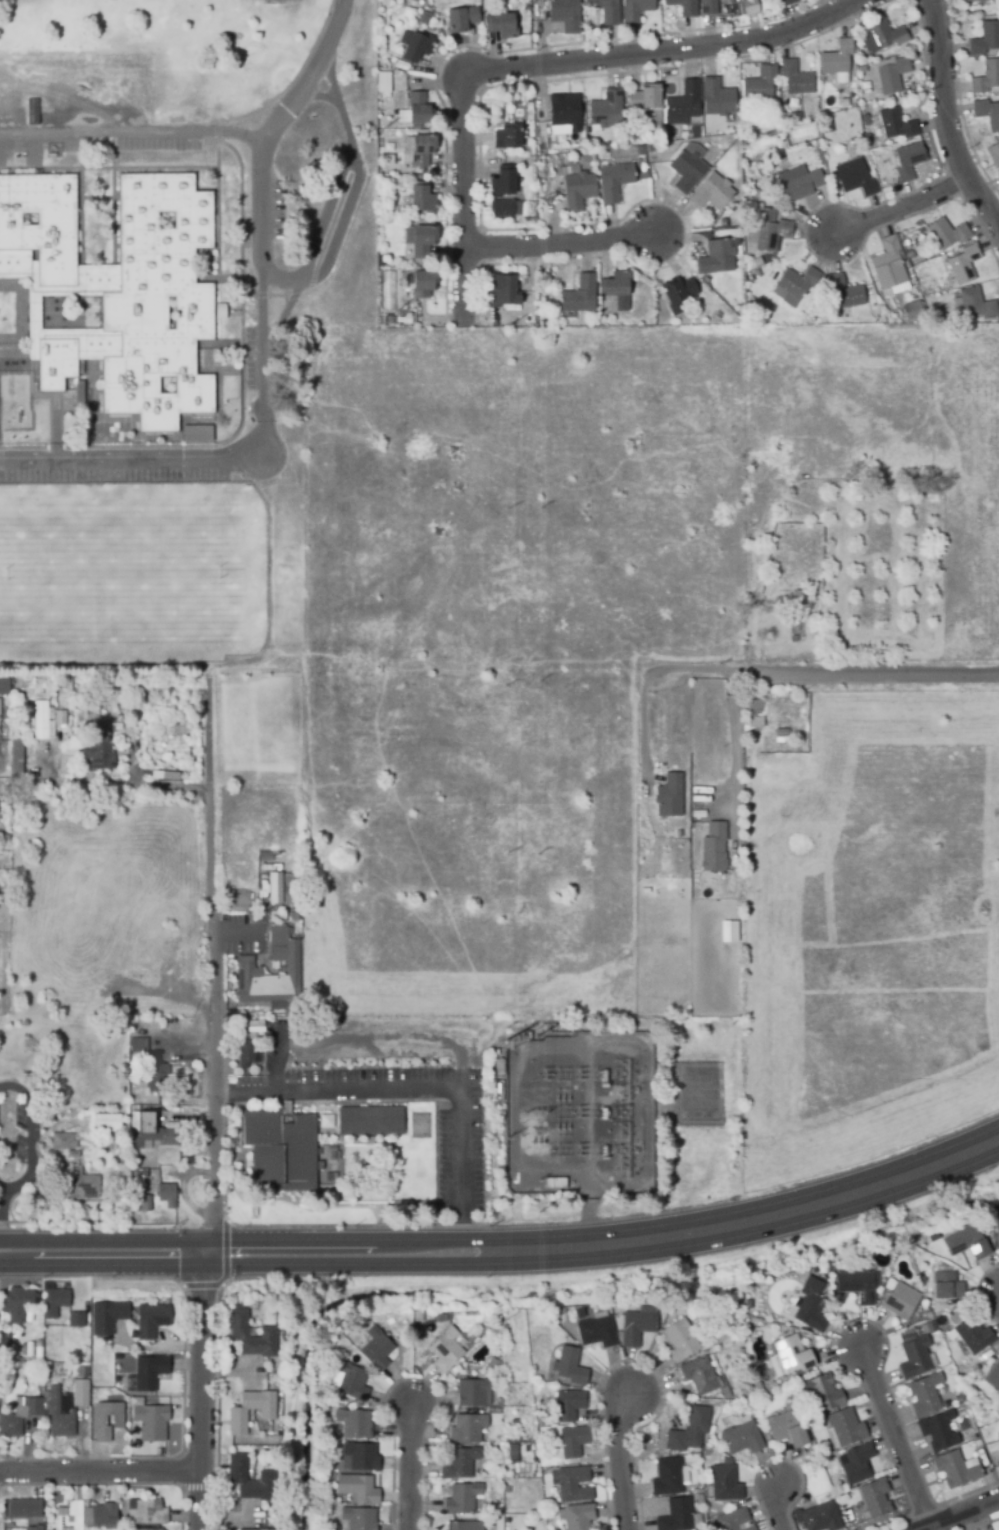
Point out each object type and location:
building: (787, 2)
building: (977, 2)
building: (682, 7)
building: (707, 8)
building: (749, 8)
building: (603, 10)
building: (635, 10)
building: (564, 15)
building: (590, 18)
building: (461, 20)
building: (426, 23)
road: (335, 26)
building: (500, 27)
building: (880, 37)
building: (985, 39)
building: (415, 48)
power tower: (533, 50)
road: (664, 53)
park: (184, 62)
building: (836, 62)
building: (401, 65)
building: (892, 76)
building: (986, 78)
building: (794, 81)
building: (382, 82)
building: (759, 87)
road: (317, 96)
building: (644, 99)
building: (716, 99)
building: (848, 103)
building: (682, 104)
building: (418, 110)
building: (605, 111)
building: (563, 112)
building: (986, 114)
building: (657, 117)
road: (945, 122)
power tower: (384, 126)
building: (894, 126)
building: (694, 130)
road: (134, 132)
building: (506, 139)
road: (261, 149)
building: (421, 151)
building: (639, 151)
building: (993, 156)
building: (582, 161)
building: (906, 162)
building: (685, 171)
building: (544, 174)
building: (855, 179)
building: (613, 182)
building: (501, 183)
building: (800, 187)
road: (334, 188)
building: (577, 191)
building: (711, 193)
building: (754, 197)
building: (421, 199)
road: (462, 201)
power tower: (536, 202)
building: (501, 206)
road: (897, 208)
building: (767, 232)
building: (946, 234)
building: (421, 242)
road: (557, 243)
building: (715, 258)
building: (773, 265)
building: (887, 265)
building: (961, 265)
building: (755, 275)
building: (797, 282)
building: (423, 285)
building: (118, 290)
building: (387, 290)
building: (616, 290)
building: (677, 291)
building: (502, 293)
building: (843, 295)
building: (578, 297)
building: (973, 305)
power tower: (391, 310)
building: (870, 310)
building: (219, 311)
building: (911, 311)
road: (282, 317)
power tower: (506, 325)
power tower: (537, 325)
building: (81, 396)
building: (195, 433)
road: (218, 457)
power tower: (539, 507)
power tower: (503, 509)
building: (735, 518)
park: (110, 572)
road: (270, 579)
building: (797, 599)
park: (152, 625)
road: (821, 675)
power tower: (537, 681)
power tower: (503, 684)
building: (4, 687)
building: (114, 692)
building: (753, 715)
building: (60, 720)
building: (41, 723)
building: (161, 723)
building: (121, 724)
road: (645, 735)
building: (781, 736)
building: (98, 750)
building: (15, 761)
road: (135, 763)
road: (1, 767)
road: (736, 768)
building: (75, 777)
road: (75, 783)
road: (171, 787)
building: (670, 795)
building: (4, 841)
building: (713, 843)
power tower: (535, 851)
power tower: (501, 855)
building: (262, 880)
building: (291, 889)
building: (275, 890)
road: (250, 902)
building: (728, 930)
road: (236, 933)
building: (694, 961)
building: (275, 969)
road: (177, 996)
building: (692, 1011)
building: (440, 1025)
power tower: (534, 1029)
power tower: (500, 1033)
road: (372, 1038)
road: (178, 1041)
building: (142, 1045)
road: (545, 1045)
building: (245, 1055)
building: (81, 1070)
building: (159, 1077)
road: (422, 1090)
road: (214, 1106)
power tower: (534, 1107)
power substation: (578, 1112)
road: (189, 1117)
building: (374, 1121)
building: (326, 1122)
building: (110, 1123)
building: (159, 1131)
road: (30, 1136)
road: (108, 1140)
building: (65, 1141)
power tower: (498, 1141)
road: (89, 1144)
building: (42, 1147)
building: (284, 1150)
road: (95, 1152)
road: (87, 1153)
building: (75, 1154)
building: (142, 1155)
building: (331, 1156)
road: (45, 1159)
road: (142, 1160)
road: (85, 1167)
building: (368, 1169)
building: (139, 1175)
building: (329, 1179)
building: (522, 1180)
power tower: (537, 1181)
building: (555, 1184)
building: (83, 1185)
road: (185, 1186)
road: (104, 1194)
building: (169, 1196)
building: (144, 1205)
power tower: (534, 1210)
building: (997, 1211)
road: (55, 1222)
power tower: (503, 1222)
building: (996, 1233)
building: (932, 1238)
road: (1, 1244)
building: (968, 1244)
road: (506, 1251)
building: (856, 1284)
power tower: (536, 1287)
building: (948, 1288)
power tower: (502, 1291)
building: (57, 1301)
building: (899, 1301)
building: (18, 1303)
building: (809, 1305)
building: (111, 1316)
building: (155, 1320)
building: (76, 1322)
building: (636, 1325)
building: (930, 1327)
building: (597, 1331)
building: (972, 1334)
building: (253, 1337)
building: (679, 1341)
building: (4, 1343)
building: (375, 1349)
building: (447, 1352)
building: (116, 1355)
building: (791, 1355)
building: (914, 1356)
building: (568, 1365)
building: (81, 1371)
building: (153, 1372)
building: (698, 1375)
building: (993, 1377)
building: (347, 1379)
building: (822, 1391)
building: (79, 1392)
building: (93, 1393)
building: (474, 1394)
building: (924, 1394)
building: (567, 1405)
building: (59, 1414)
building: (236, 1414)
building: (19, 1415)
building: (99, 1420)
building: (153, 1420)
building: (514, 1422)
building: (353, 1425)
building: (787, 1428)
building: (844, 1428)
building: (467, 1429)
building: (938, 1430)
building: (685, 1431)
road: (894, 1437)
building: (571, 1439)
building: (740, 1439)
building: (997, 1440)
road: (80, 1441)
building: (514, 1449)
building: (359, 1458)
road: (621, 1461)
building: (459, 1464)
building: (856, 1465)
road: (412, 1468)
building: (957, 1470)
road: (99, 1471)
power tower: (536, 1472)
power tower: (504, 1473)
building: (236, 1475)
building: (667, 1478)
building: (573, 1483)
building: (723, 1483)
building: (358, 1490)
building: (875, 1497)
building: (462, 1500)
building: (23, 1507)
road: (777, 1509)
building: (147, 1514)
road: (961, 1514)
building: (675, 1515)
building: (579, 1516)
building: (69, 1517)
building: (105, 1518)
building: (818, 1518)
building: (359, 1519)
building: (849, 1519)
building: (731, 1520)
building: (462, 1525)
building: (149, 1528)
building: (334, 1528)
building: (32, 1529)
building: (255, 1529)

